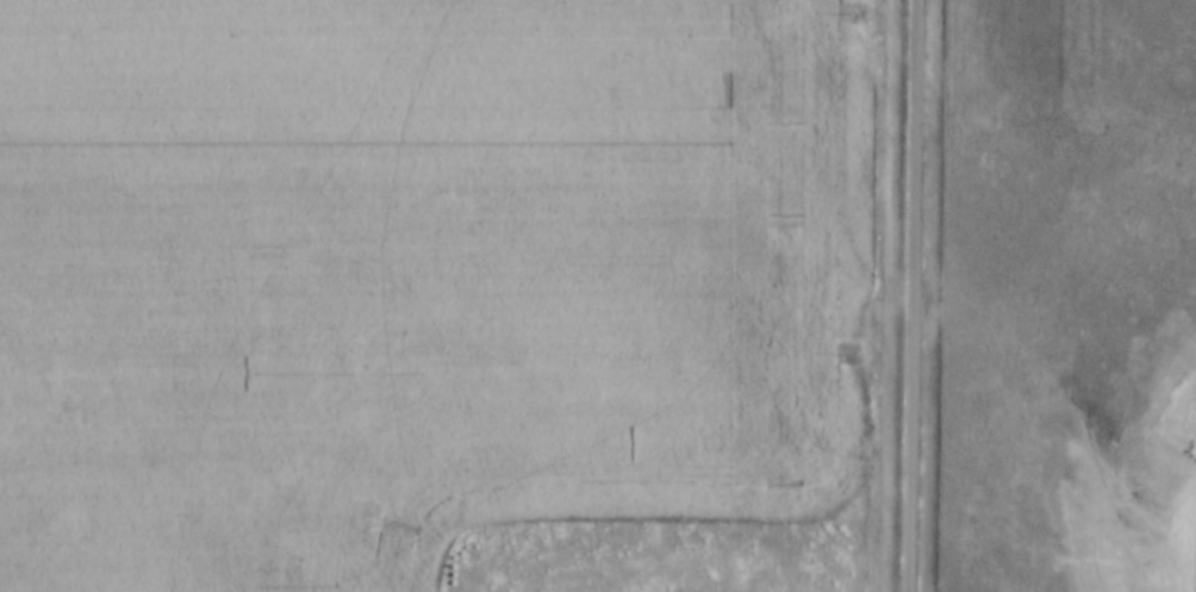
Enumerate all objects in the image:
road: (915, 295)

